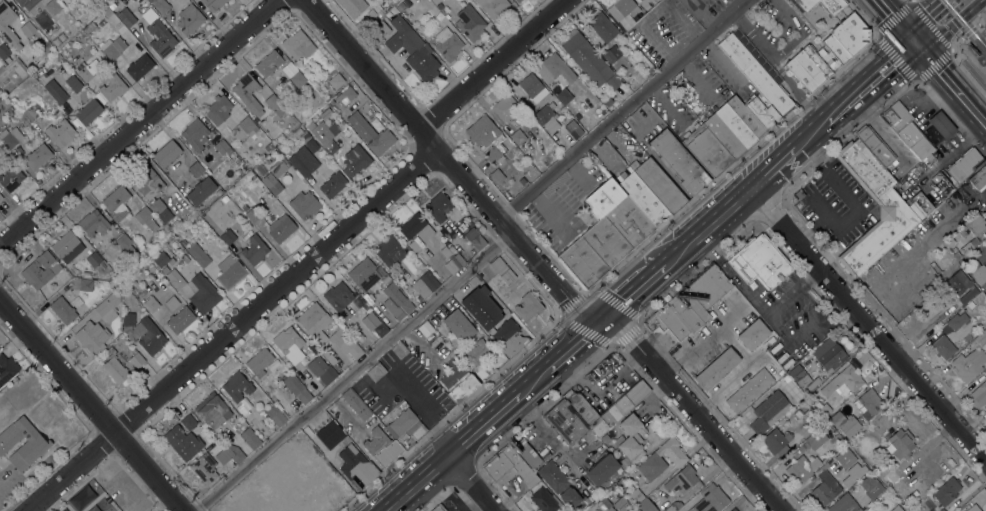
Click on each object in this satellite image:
building: (516, 0)
building: (518, 0)
road: (910, 0)
road: (911, 0)
building: (26, 3)
building: (213, 4)
building: (160, 5)
building: (822, 5)
building: (401, 6)
building: (352, 7)
building: (54, 8)
building: (494, 8)
building: (625, 8)
building: (110, 15)
road: (894, 15)
road: (924, 15)
road: (700, 16)
building: (126, 17)
building: (189, 19)
building: (469, 22)
road: (930, 24)
road: (950, 25)
railway: (964, 25)
building: (88, 27)
building: (603, 27)
building: (4, 28)
building: (27, 30)
building: (379, 30)
road: (968, 31)
traffic signals: (908, 32)
building: (158, 34)
road: (911, 36)
building: (61, 37)
building: (846, 38)
building: (56, 41)
road: (917, 44)
building: (298, 45)
building: (447, 45)
building: (113, 47)
building: (412, 49)
traffic signals: (921, 49)
building: (3, 51)
road: (781, 52)
building: (612, 55)
building: (585, 58)
road: (895, 58)
building: (269, 63)
road: (493, 65)
building: (139, 67)
road: (968, 67)
road: (873, 68)
building: (89, 69)
building: (553, 69)
building: (807, 69)
building: (755, 75)
road: (881, 78)
building: (297, 80)
building: (336, 81)
building: (613, 82)
building: (73, 84)
building: (632, 85)
road: (953, 86)
building: (112, 87)
building: (532, 87)
road: (794, 88)
building: (55, 91)
building: (248, 94)
building: (562, 94)
building: (346, 96)
building: (272, 102)
building: (607, 102)
building: (505, 108)
building: (218, 109)
road: (622, 110)
building: (88, 112)
building: (327, 113)
building: (762, 113)
building: (30, 114)
building: (546, 117)
building: (745, 117)
road: (138, 118)
road: (822, 122)
building: (941, 125)
building: (244, 129)
building: (573, 129)
building: (907, 130)
building: (728, 132)
building: (61, 133)
building: (195, 134)
building: (370, 134)
building: (323, 136)
building: (10, 137)
building: (518, 137)
building: (303, 138)
building: (487, 138)
road: (963, 143)
building: (268, 147)
building: (873, 147)
building: (222, 148)
building: (707, 151)
building: (167, 153)
building: (37, 157)
building: (929, 157)
building: (355, 161)
building: (679, 161)
building: (303, 163)
road: (449, 164)
road: (777, 164)
building: (965, 165)
building: (278, 168)
building: (195, 169)
building: (864, 169)
building: (237, 172)
building: (496, 176)
building: (10, 177)
building: (979, 178)
building: (147, 182)
building: (271, 184)
building: (333, 185)
building: (657, 185)
building: (200, 190)
building: (1, 198)
building: (643, 200)
building: (117, 203)
building: (304, 205)
building: (438, 207)
building: (244, 208)
building: (160, 211)
building: (253, 214)
building: (148, 220)
building: (93, 223)
building: (415, 227)
building: (281, 228)
road: (705, 229)
building: (884, 230)
building: (605, 234)
building: (228, 237)
building: (475, 237)
building: (980, 237)
building: (952, 239)
building: (183, 242)
building: (126, 245)
building: (413, 246)
building: (67, 247)
building: (254, 250)
building: (447, 251)
building: (390, 252)
building: (198, 255)
building: (184, 258)
building: (162, 259)
building: (454, 263)
building: (760, 263)
building: (99, 267)
building: (40, 270)
building: (502, 270)
building: (229, 272)
building: (979, 273)
building: (363, 274)
building: (174, 279)
railway: (651, 281)
building: (129, 282)
building: (956, 283)
building: (85, 285)
building: (424, 285)
road: (632, 293)
building: (203, 294)
building: (966, 297)
building: (339, 300)
building: (396, 301)
building: (172, 303)
building: (150, 304)
building: (689, 304)
building: (108, 307)
building: (528, 307)
building: (63, 310)
building: (128, 319)
building: (179, 320)
building: (493, 321)
road: (601, 321)
building: (957, 321)
building: (314, 322)
road: (868, 323)
building: (374, 324)
building: (459, 326)
road: (231, 329)
building: (425, 329)
building: (753, 334)
building: (92, 337)
building: (151, 338)
building: (981, 338)
building: (345, 343)
building: (288, 346)
road: (573, 346)
building: (943, 347)
building: (477, 352)
building: (828, 354)
building: (326, 355)
building: (136, 360)
building: (259, 362)
building: (968, 365)
building: (114, 367)
building: (336, 367)
building: (603, 367)
building: (7, 369)
building: (716, 369)
building: (321, 370)
road: (348, 372)
building: (376, 372)
building: (799, 376)
building: (786, 379)
road: (535, 381)
building: (458, 383)
building: (236, 386)
building: (837, 386)
building: (298, 389)
building: (749, 390)
building: (978, 395)
building: (356, 404)
building: (868, 404)
building: (620, 407)
road: (92, 408)
building: (212, 410)
building: (242, 410)
building: (827, 410)
road: (695, 412)
building: (769, 412)
building: (798, 414)
building: (276, 416)
building: (837, 420)
building: (188, 421)
building: (567, 424)
road: (484, 425)
building: (405, 429)
building: (326, 434)
building: (817, 437)
building: (250, 439)
building: (630, 439)
building: (848, 439)
building: (182, 442)
building: (776, 442)
building: (837, 442)
building: (901, 443)
building: (380, 444)
building: (30, 450)
building: (229, 455)
building: (529, 456)
building: (830, 461)
building: (652, 462)
building: (356, 467)
building: (509, 467)
building: (204, 468)
building: (602, 469)
building: (802, 469)
building: (318, 471)
building: (553, 477)
building: (850, 479)
building: (681, 480)
road: (417, 484)
road: (471, 484)
building: (871, 487)
building: (946, 492)
building: (83, 496)
building: (249, 496)
building: (635, 496)
building: (569, 498)
building: (544, 500)
building: (711, 500)
building: (304, 502)
building: (621, 504)
building: (604, 505)
building: (645, 506)
building: (673, 506)
building: (849, 506)
building: (439, 508)
building: (972, 508)
building: (92, 509)
building: (733, 509)
building: (896, 509)
building: (964, 509)
building: (62, 510)
building: (941, 510)

